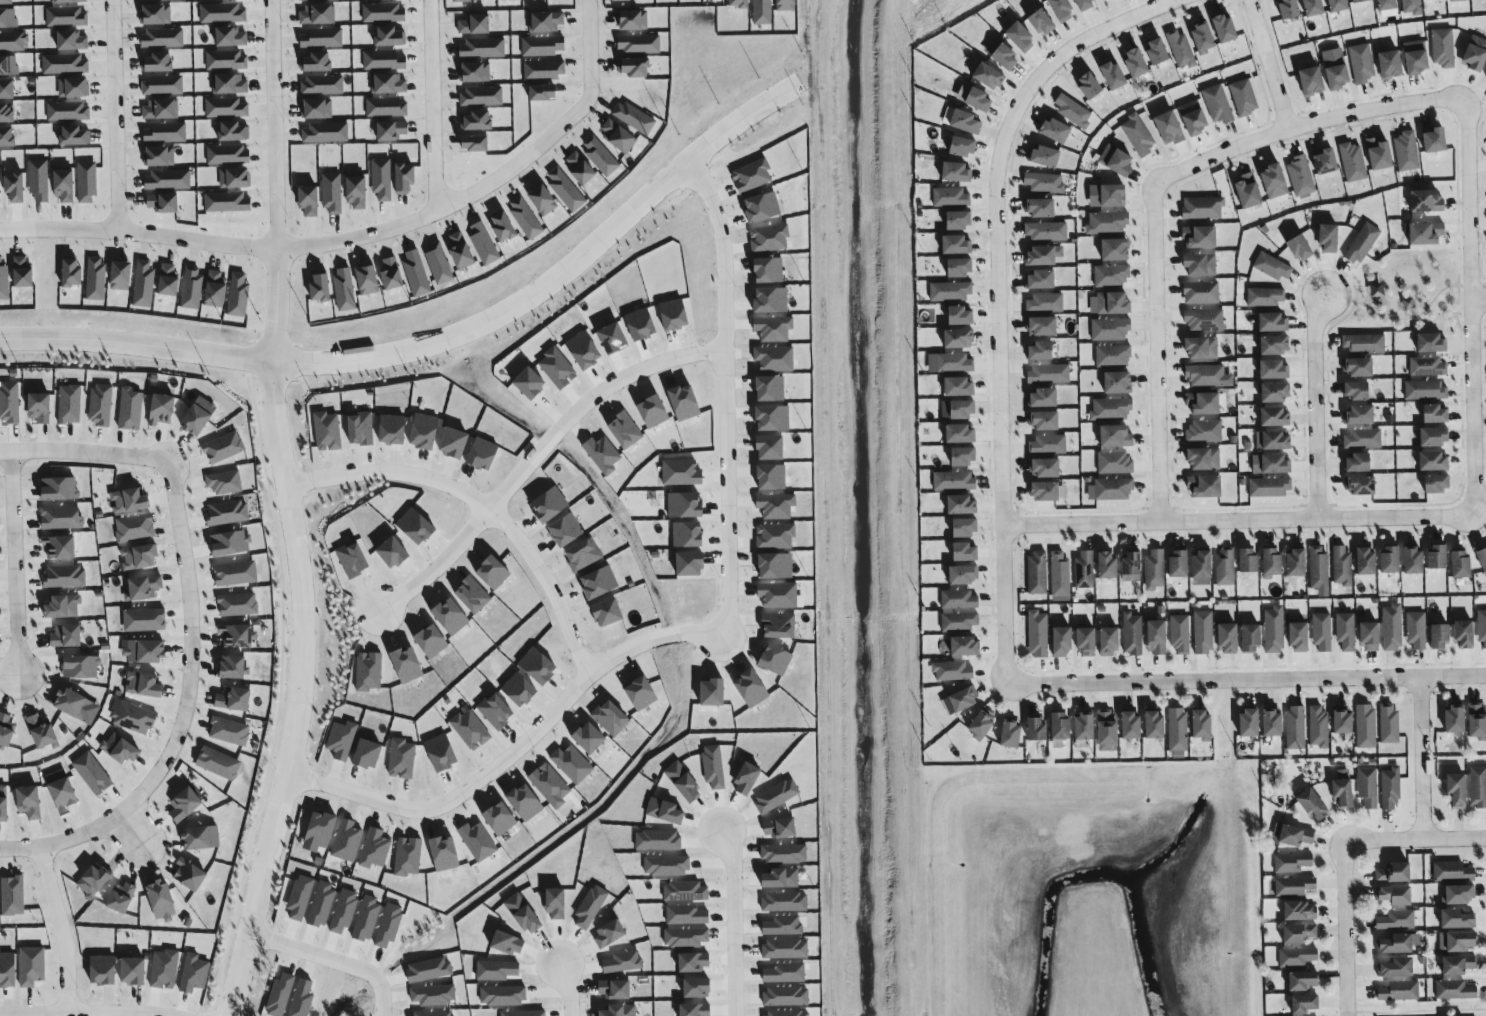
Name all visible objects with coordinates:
building: (156, 0)
building: (312, 0)
building: (509, 0)
building: (556, 0)
building: (620, 0)
building: (67, 1)
building: (461, 1)
building: (1362, 1)
building: (1459, 1)
building: (6, 2)
building: (786, 5)
building: (1385, 5)
building: (1339, 6)
building: (1410, 7)
building: (1315, 8)
building: (1063, 10)
building: (383, 12)
building: (762, 12)
building: (222, 13)
building: (156, 15)
building: (318, 15)
building: (66, 17)
building: (8, 19)
building: (633, 21)
building: (546, 22)
building: (1043, 23)
building: (475, 25)
building: (1226, 29)
building: (231, 37)
building: (390, 37)
building: (1021, 37)
building: (321, 38)
building: (1204, 38)
building: (162, 39)
building: (13, 41)
building: (71, 41)
building: (639, 44)
building: (543, 46)
building: (1443, 47)
building: (482, 48)
building: (1181, 50)
building: (1159, 52)
building: (1476, 52)
building: (1418, 56)
building: (1006, 57)
road: (1055, 59)
building: (383, 60)
building: (225, 61)
building: (1137, 62)
building: (158, 63)
building: (316, 63)
building: (1363, 63)
building: (1391, 63)
building: (65, 64)
road: (1268, 64)
building: (8, 66)
building: (634, 68)
building: (544, 70)
building: (1338, 71)
building: (475, 73)
building: (1115, 74)
building: (990, 75)
building: (1313, 80)
building: (229, 84)
building: (389, 84)
building: (322, 85)
building: (1091, 85)
building: (162, 86)
building: (73, 88)
building: (7, 90)
building: (543, 93)
building: (481, 96)
building: (976, 97)
building: (1244, 97)
road: (432, 104)
building: (1218, 104)
building: (225, 108)
building: (386, 108)
building: (160, 110)
building: (317, 110)
building: (1072, 110)
building: (68, 112)
building: (7, 113)
road: (115, 115)
building: (1194, 117)
building: (633, 118)
building: (477, 121)
building: (968, 121)
road: (1308, 123)
road: (274, 124)
building: (1169, 127)
building: (1057, 129)
building: (391, 131)
building: (233, 132)
building: (165, 133)
building: (325, 133)
building: (1138, 134)
building: (75, 136)
building: (618, 136)
building: (7, 138)
building: (1436, 139)
building: (475, 144)
building: (964, 146)
building: (1407, 151)
building: (1381, 153)
building: (228, 155)
building: (1047, 156)
building: (159, 157)
building: (600, 157)
building: (1117, 160)
building: (1328, 161)
building: (1353, 162)
building: (580, 168)
building: (957, 171)
building: (1301, 175)
building: (405, 178)
building: (234, 179)
building: (381, 179)
building: (38, 180)
building: (167, 181)
building: (1275, 181)
building: (87, 183)
building: (1045, 183)
building: (65, 187)
building: (15, 188)
building: (1250, 190)
building: (565, 191)
building: (356, 192)
building: (0, 194)
building: (332, 194)
building: (1108, 195)
building: (951, 197)
building: (1427, 200)
building: (309, 201)
building: (543, 201)
building: (163, 203)
building: (226, 203)
building: (1042, 207)
building: (1203, 208)
building: (525, 218)
road: (419, 219)
building: (960, 219)
building: (1107, 222)
building: (504, 227)
road: (58, 231)
building: (1046, 231)
building: (1427, 233)
building: (1201, 236)
building: (1330, 237)
building: (957, 243)
building: (1363, 243)
building: (483, 244)
building: (1302, 247)
building: (1117, 249)
building: (460, 250)
building: (1044, 254)
building: (438, 263)
building: (1200, 263)
building: (1274, 266)
building: (961, 267)
building: (22, 272)
building: (416, 273)
building: (72, 274)
building: (391, 274)
building: (121, 276)
building: (1111, 276)
building: (96, 279)
building: (1042, 279)
building: (367, 280)
building: (168, 281)
road: (558, 281)
building: (4, 282)
building: (144, 284)
building: (191, 288)
building: (321, 289)
building: (344, 289)
building: (216, 290)
building: (950, 291)
building: (1202, 292)
building: (238, 296)
building: (1266, 297)
road: (1480, 300)
building: (1045, 303)
building: (1114, 303)
road: (1474, 303)
road: (1376, 307)
building: (962, 315)
road: (1402, 318)
building: (1205, 320)
building: (1274, 321)
building: (1042, 326)
building: (774, 328)
building: (1110, 329)
building: (960, 338)
building: (1431, 342)
building: (1363, 343)
building: (1275, 344)
road: (135, 347)
building: (1202, 347)
building: (1042, 350)
road: (1157, 352)
building: (1113, 355)
building: (775, 358)
building: (954, 363)
building: (1360, 366)
building: (1428, 367)
building: (1272, 369)
building: (1049, 373)
building: (1209, 376)
building: (1118, 382)
building: (959, 386)
building: (771, 388)
building: (1357, 390)
building: (1425, 390)
building: (1275, 392)
building: (1044, 397)
road: (727, 399)
building: (9, 402)
building: (683, 402)
building: (1204, 403)
building: (69, 404)
road: (1319, 404)
building: (100, 405)
building: (40, 407)
road: (590, 407)
building: (130, 408)
building: (161, 409)
building: (962, 409)
building: (1111, 409)
building: (1436, 413)
building: (1359, 415)
building: (199, 416)
building: (1275, 416)
building: (773, 417)
building: (1045, 420)
building: (360, 428)
building: (393, 429)
building: (424, 430)
road: (1004, 430)
building: (327, 431)
building: (1205, 431)
building: (961, 433)
building: (1116, 436)
building: (1434, 436)
building: (1363, 439)
building: (1277, 440)
building: (454, 442)
building: (1048, 445)
building: (771, 446)
building: (223, 447)
building: (483, 453)
building: (964, 456)
building: (1205, 458)
road: (85, 459)
building: (1434, 460)
building: (1359, 462)
building: (1114, 463)
building: (1271, 463)
building: (1045, 468)
building: (681, 472)
building: (772, 476)
building: (954, 481)
building: (224, 482)
building: (1437, 483)
building: (1361, 485)
building: (1206, 486)
building: (1270, 487)
building: (59, 488)
building: (1111, 489)
building: (1047, 490)
building: (129, 500)
building: (550, 504)
building: (686, 504)
building: (962, 504)
building: (776, 505)
road: (481, 506)
building: (227, 513)
building: (60, 517)
road: (1241, 518)
building: (416, 525)
building: (965, 527)
building: (134, 528)
building: (566, 530)
building: (688, 534)
building: (775, 536)
building: (231, 543)
building: (60, 546)
building: (394, 552)
building: (967, 552)
building: (583, 555)
building: (139, 556)
building: (1438, 557)
building: (1482, 558)
building: (353, 559)
building: (1391, 559)
building: (1248, 560)
building: (1414, 560)
building: (1367, 561)
building: (1272, 562)
building: (1296, 562)
building: (690, 563)
building: (1107, 564)
building: (1179, 564)
building: (773, 565)
building: (1342, 565)
building: (1462, 565)
road: (17, 566)
building: (1133, 567)
building: (1225, 567)
road: (437, 568)
building: (1202, 568)
building: (1318, 568)
building: (1155, 569)
building: (1084, 570)
building: (494, 572)
building: (235, 573)
building: (1036, 573)
building: (1059, 574)
building: (964, 575)
building: (65, 576)
building: (600, 582)
building: (145, 587)
building: (473, 595)
building: (778, 595)
building: (959, 599)
building: (237, 604)
building: (63, 606)
building: (608, 612)
building: (451, 616)
building: (145, 620)
building: (960, 622)
building: (778, 625)
building: (1392, 627)
building: (1482, 628)
building: (1275, 629)
building: (1416, 630)
building: (1346, 631)
building: (1203, 632)
building: (1323, 632)
building: (1180, 633)
building: (1465, 633)
building: (1038, 634)
building: (1132, 634)
road: (301, 635)
building: (1370, 635)
building: (67, 636)
building: (236, 636)
building: (1301, 636)
building: (1440, 636)
building: (1157, 637)
building: (1230, 638)
building: (1252, 638)
building: (1110, 640)
building: (432, 641)
building: (1063, 641)
building: (1088, 641)
building: (966, 646)
building: (144, 651)
building: (776, 659)
building: (407, 664)
building: (539, 665)
building: (81, 666)
building: (232, 666)
building: (368, 671)
building: (952, 671)
road: (1247, 681)
building: (144, 684)
building: (751, 688)
building: (520, 689)
building: (712, 692)
building: (642, 693)
building: (234, 699)
building: (962, 700)
building: (74, 704)
building: (496, 711)
road: (182, 716)
building: (133, 717)
building: (611, 718)
building: (1456, 719)
building: (1477, 721)
building: (983, 722)
building: (1344, 722)
building: (1204, 723)
building: (1251, 723)
building: (1273, 723)
building: (1388, 723)
building: (1133, 725)
building: (1157, 725)
building: (1085, 726)
building: (1365, 726)
building: (1319, 727)
building: (1037, 728)
building: (1296, 728)
building: (6, 729)
building: (470, 729)
building: (1108, 730)
building: (1178, 730)
building: (42, 731)
building: (229, 731)
building: (1011, 734)
building: (590, 738)
building: (342, 739)
building: (120, 748)
building: (441, 752)
building: (368, 753)
road: (512, 756)
building: (401, 758)
road: (1422, 759)
building: (219, 763)
building: (572, 764)
building: (92, 773)
building: (549, 783)
building: (1368, 787)
building: (1478, 787)
building: (1390, 789)
building: (1459, 789)
building: (1344, 792)
building: (64, 794)
building: (29, 802)
building: (525, 802)
building: (4, 804)
building: (1314, 804)
building: (185, 805)
building: (500, 818)
building: (321, 829)
road: (132, 830)
building: (1297, 836)
building: (202, 837)
road: (1414, 839)
building: (347, 840)
building: (478, 841)
building: (374, 849)
building: (444, 854)
building: (407, 856)
building: (1292, 863)
building: (1453, 872)
building: (1395, 873)
building: (190, 875)
building: (94, 881)
building: (1294, 886)
building: (1395, 895)
building: (1459, 895)
building: (12, 896)
building: (121, 897)
building: (161, 900)
building: (1300, 911)
building: (1458, 919)
building: (1397, 920)
road: (735, 924)
road: (61, 927)
road: (1345, 929)
building: (1299, 933)
building: (1458, 941)
building: (1395, 945)
building: (1296, 957)
road: (329, 963)
building: (1459, 965)
building: (31, 966)
building: (1396, 968)
building: (8, 969)
building: (164, 969)
building: (103, 970)
building: (133, 971)
building: (1303, 981)
building: (189, 989)
building: (1455, 990)
building: (1400, 991)
road: (569, 992)
building: (1305, 1004)
road: (85, 1011)

